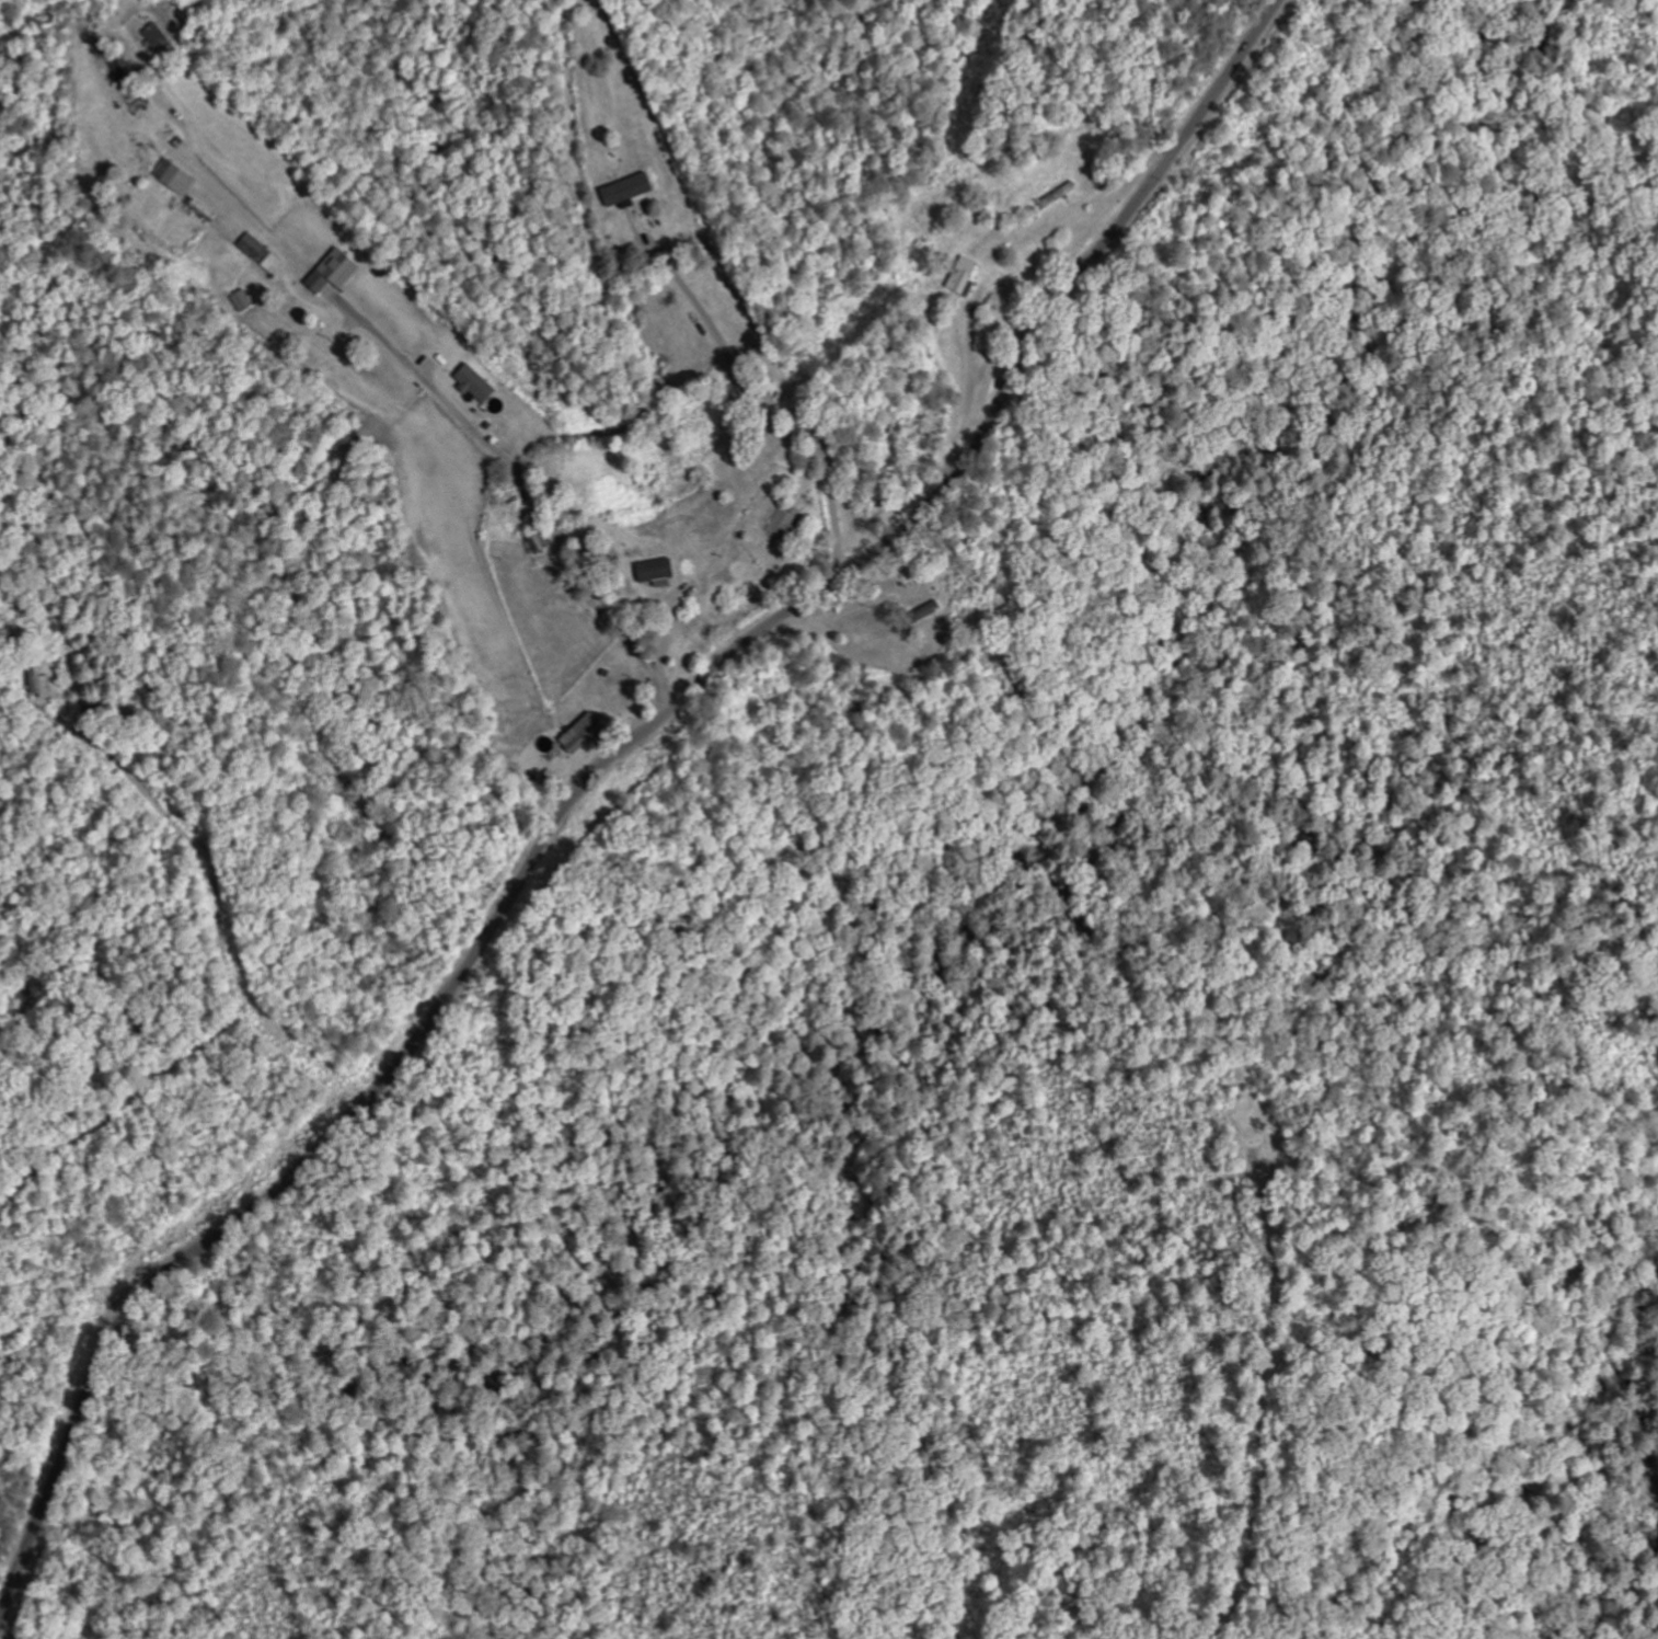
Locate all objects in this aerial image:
building: (159, 35)
building: (180, 176)
building: (633, 188)
building: (256, 245)
building: (339, 271)
building: (250, 300)
building: (480, 383)
road: (529, 485)
building: (542, 543)
building: (663, 572)
building: (44, 684)
building: (587, 733)
road: (589, 772)

